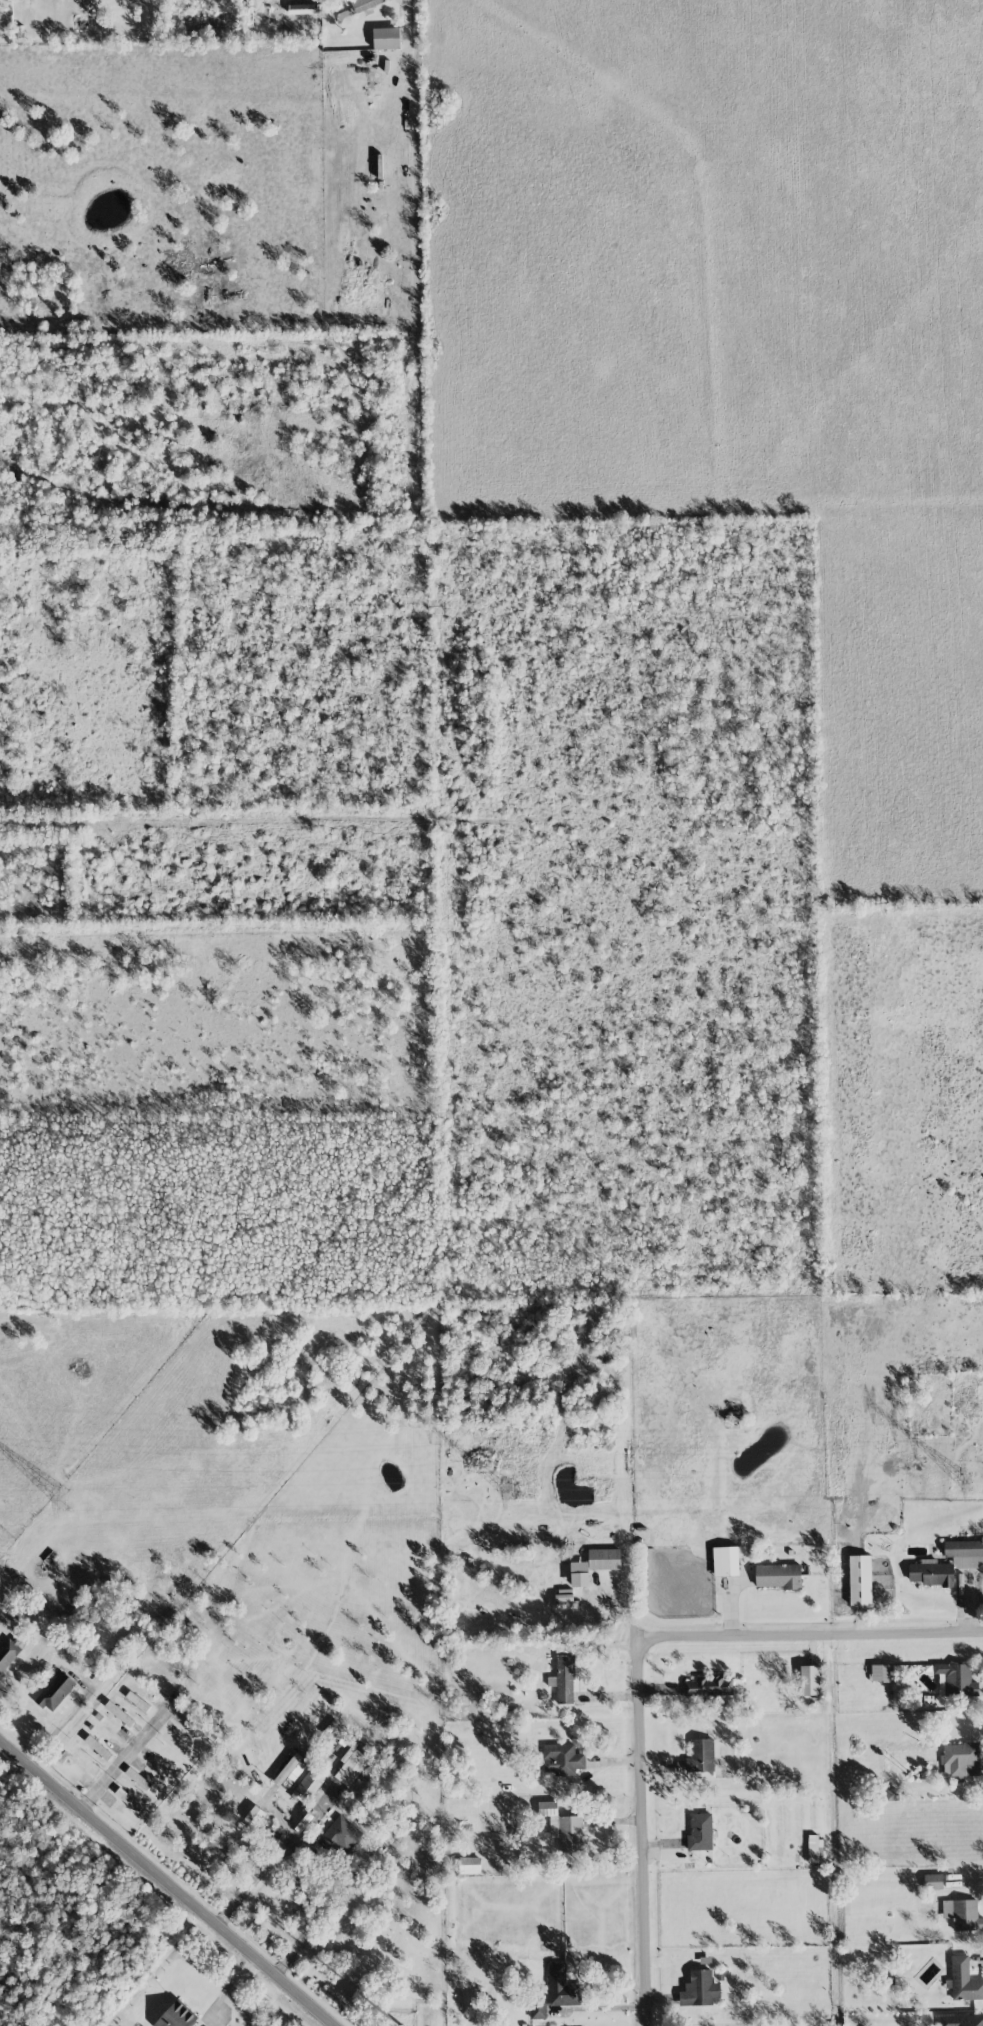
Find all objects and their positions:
building: (386, 38)
power tower: (966, 1483)
power tower: (509, 1492)
power tower: (64, 1499)
building: (965, 1553)
building: (726, 1561)
building: (594, 1565)
building: (931, 1574)
building: (778, 1576)
building: (860, 1579)
road: (817, 1638)
building: (8, 1653)
building: (881, 1672)
building: (564, 1678)
building: (810, 1679)
building: (957, 1679)
building: (708, 1686)
building: (55, 1691)
building: (119, 1713)
road: (61, 1720)
building: (98, 1747)
road: (125, 1754)
building: (701, 1755)
building: (563, 1759)
building: (961, 1759)
building: (85, 1762)
building: (351, 1766)
building: (290, 1771)
building: (308, 1785)
building: (128, 1799)
building: (700, 1831)
building: (341, 1835)
road: (651, 1837)
building: (470, 1864)
building: (933, 1881)
road: (253, 1882)
road: (166, 1883)
building: (962, 1914)
road: (318, 1916)
building: (562, 1986)
building: (700, 1988)
building: (539, 2010)
building: (177, 2015)
building: (961, 2020)

